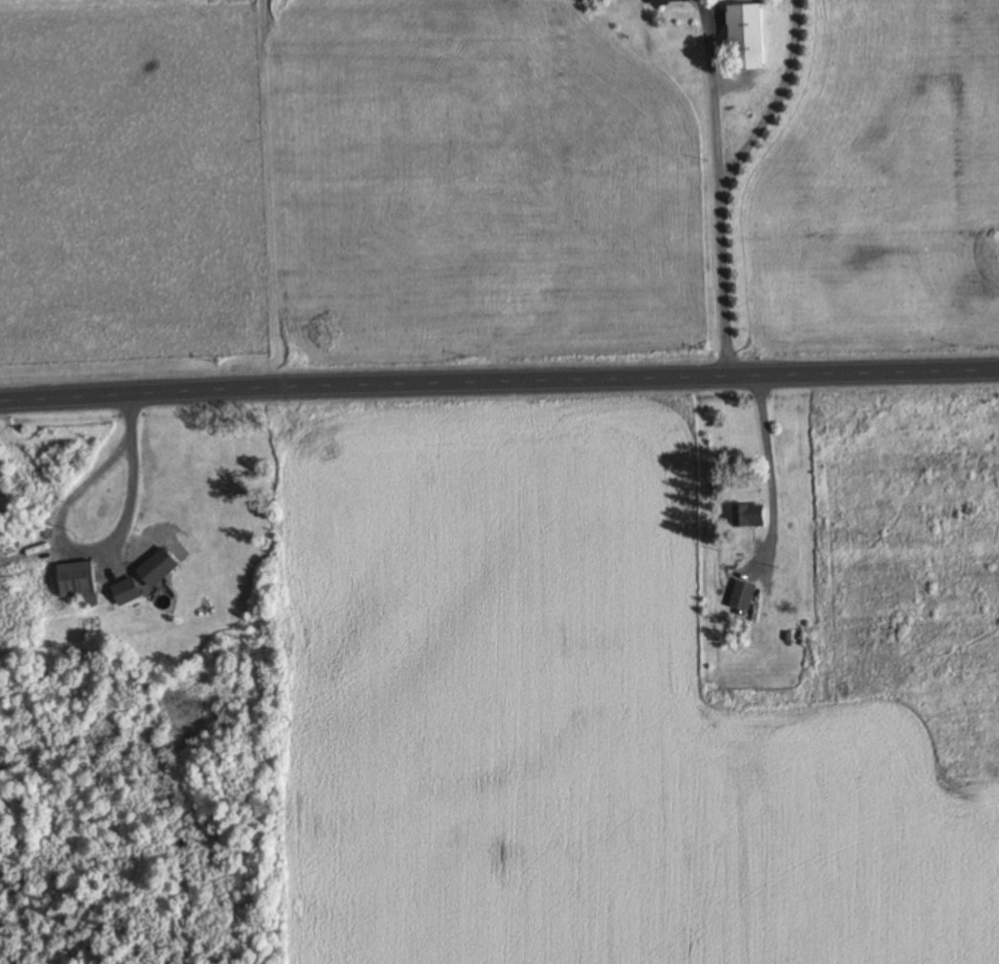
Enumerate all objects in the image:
building: (669, 2)
building: (743, 38)
road: (499, 384)
building: (747, 516)
building: (165, 568)
building: (84, 583)
building: (131, 593)
building: (740, 597)

